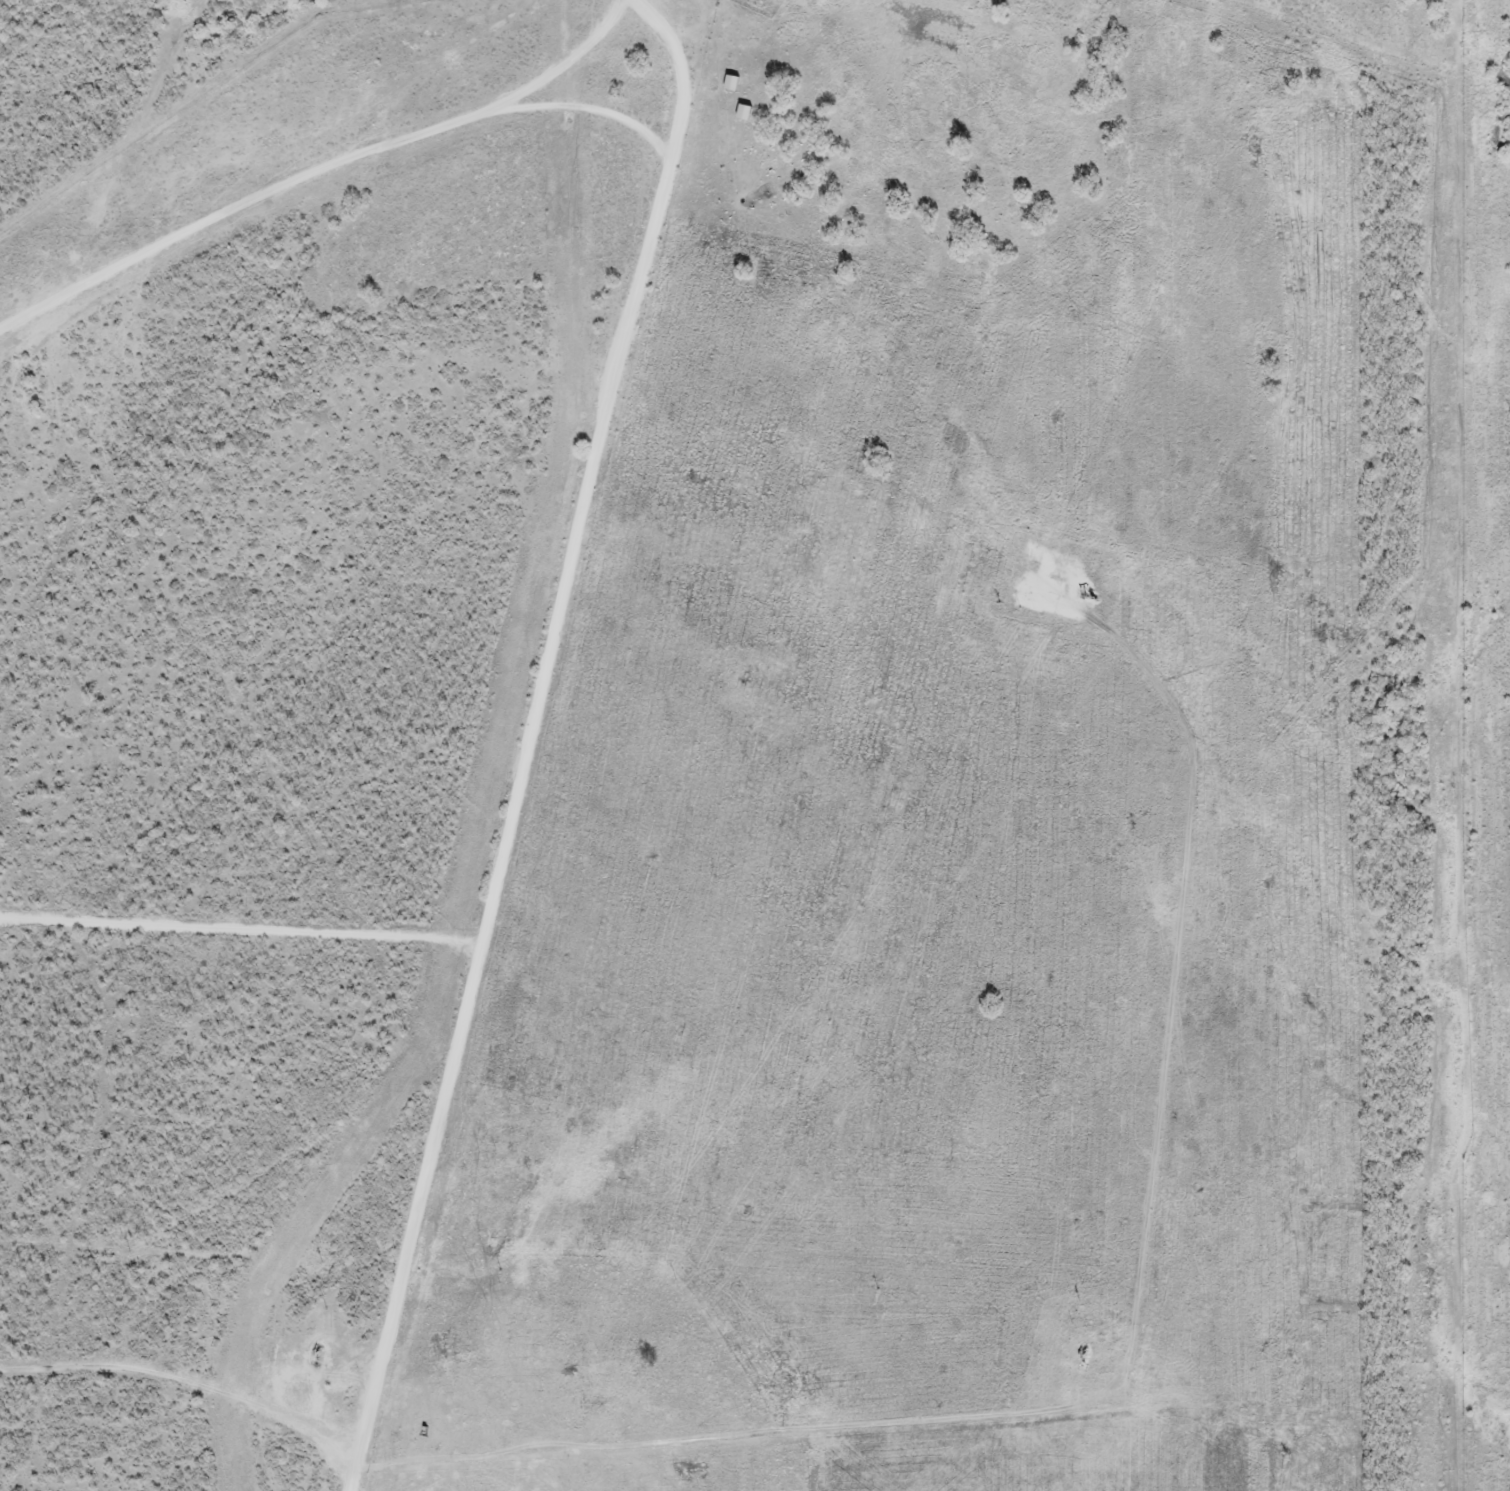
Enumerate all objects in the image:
building: (729, 82)
building: (742, 110)
road: (317, 167)

